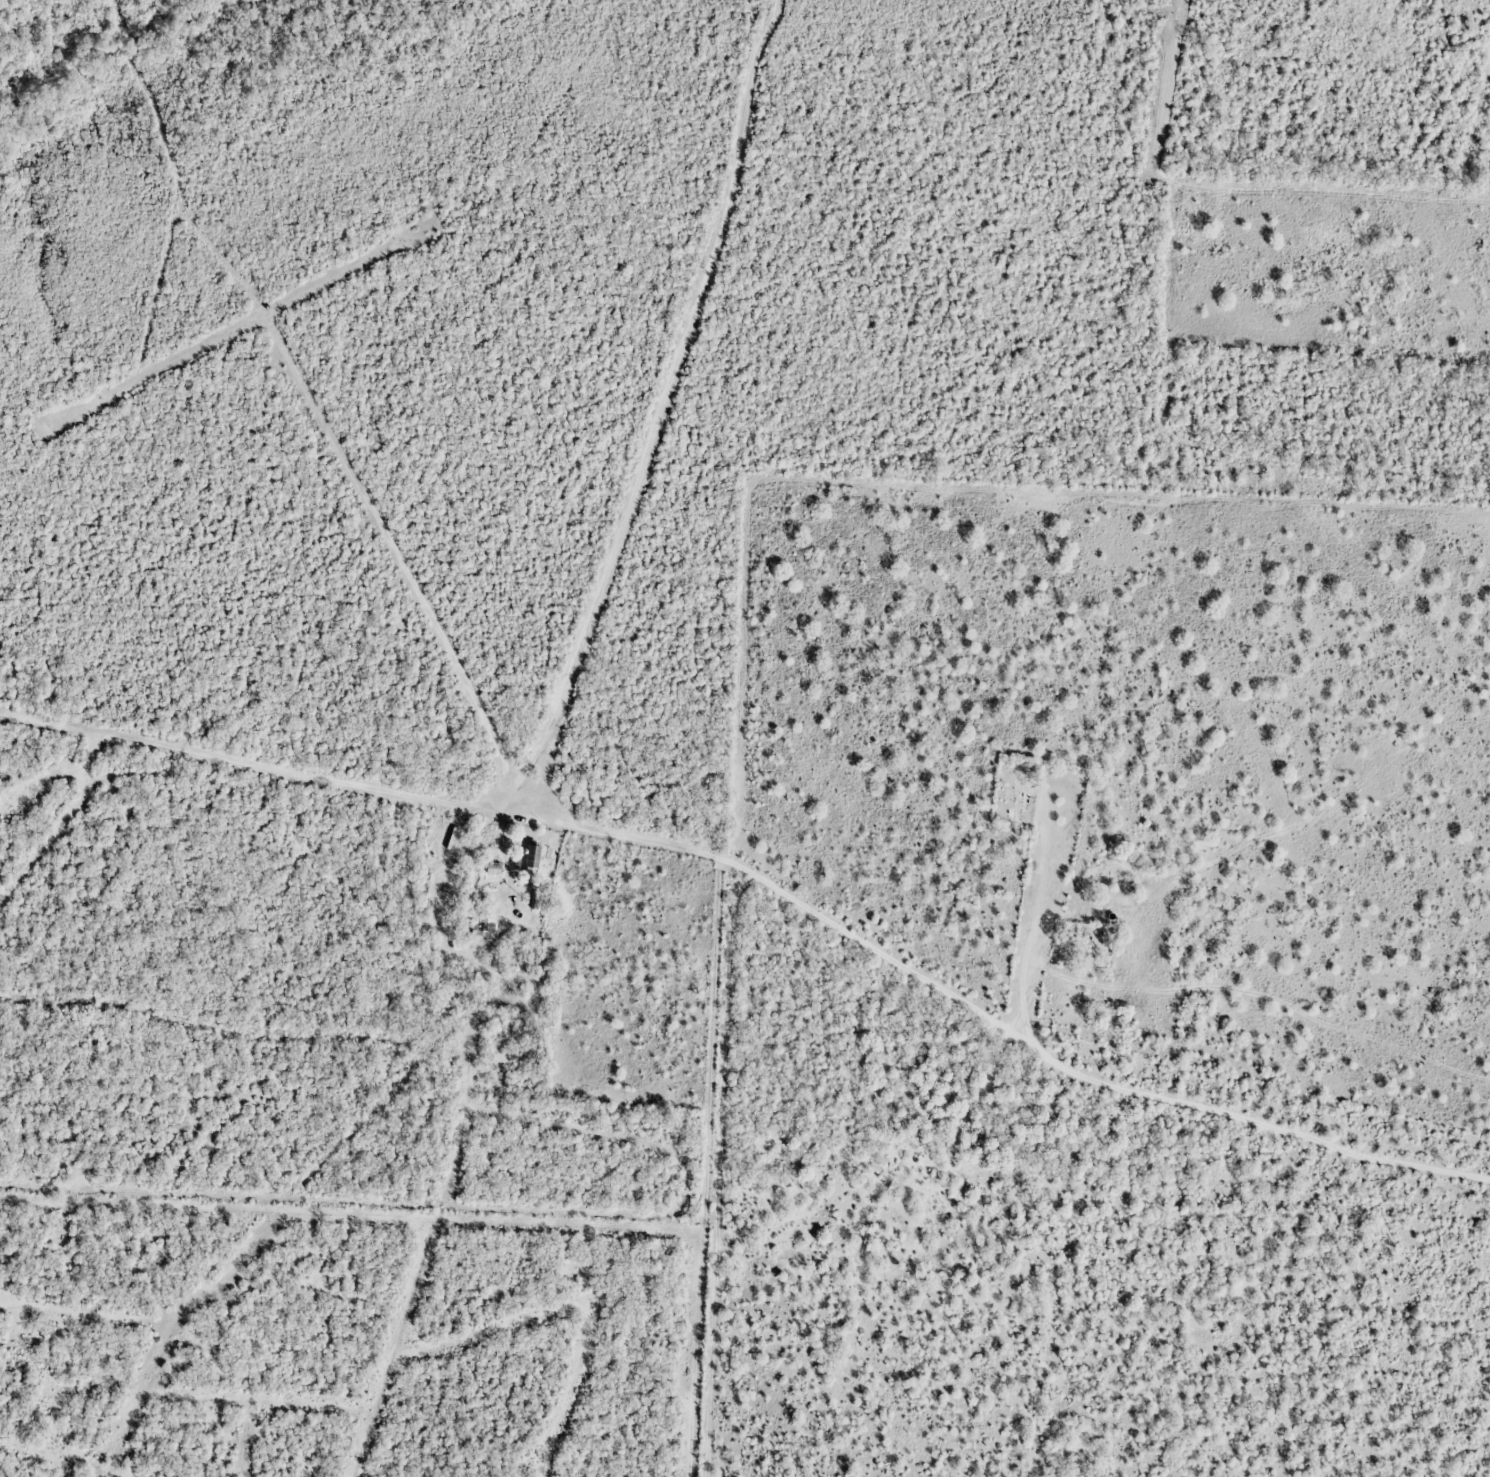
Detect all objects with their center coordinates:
building: (533, 855)
building: (494, 867)

